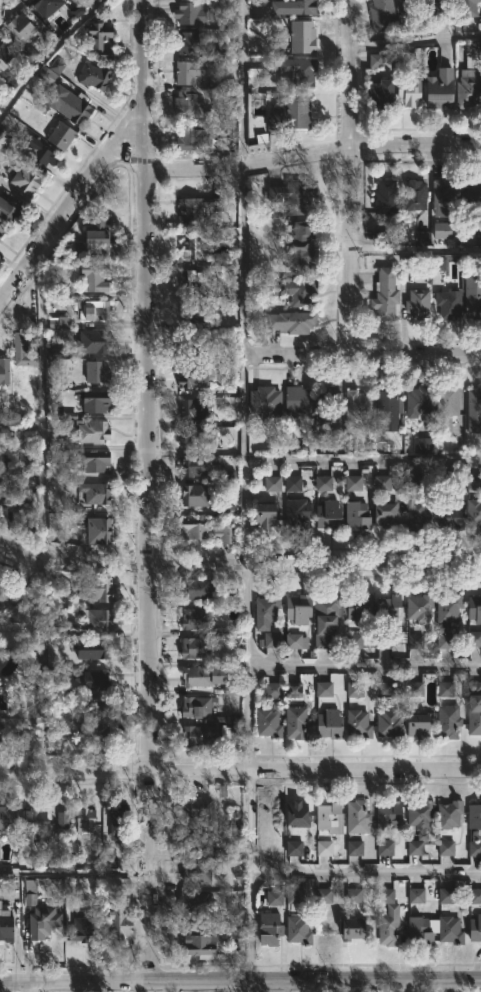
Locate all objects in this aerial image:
building: (85, 3)
building: (409, 5)
building: (44, 6)
building: (303, 7)
building: (436, 7)
building: (467, 8)
building: (189, 13)
building: (380, 14)
building: (19, 28)
building: (302, 38)
building: (99, 39)
building: (187, 43)
road: (415, 44)
building: (4, 51)
road: (46, 54)
road: (143, 56)
building: (59, 67)
building: (299, 72)
building: (187, 73)
road: (350, 75)
building: (93, 76)
building: (439, 88)
building: (468, 88)
building: (408, 92)
building: (380, 93)
building: (65, 104)
building: (186, 106)
building: (290, 115)
building: (59, 134)
building: (191, 139)
road: (313, 157)
building: (41, 159)
building: (24, 178)
building: (293, 194)
building: (414, 194)
building: (445, 195)
building: (473, 195)
building: (385, 196)
road: (68, 203)
building: (197, 207)
building: (7, 210)
building: (2, 227)
building: (444, 232)
building: (93, 238)
building: (196, 243)
building: (300, 248)
road: (415, 249)
road: (349, 251)
building: (93, 276)
building: (194, 279)
building: (295, 288)
building: (385, 293)
building: (472, 294)
building: (449, 302)
building: (418, 303)
building: (192, 308)
building: (96, 311)
building: (291, 321)
building: (94, 341)
building: (17, 347)
building: (192, 348)
road: (363, 352)
building: (4, 370)
building: (96, 371)
building: (194, 376)
building: (327, 396)
building: (297, 398)
building: (94, 400)
building: (265, 400)
building: (415, 400)
building: (357, 404)
building: (193, 407)
building: (444, 408)
building: (474, 408)
building: (387, 409)
building: (91, 430)
building: (198, 437)
building: (94, 461)
road: (363, 461)
building: (197, 463)
building: (294, 484)
building: (383, 484)
building: (475, 484)
road: (244, 490)
building: (94, 491)
building: (1, 492)
building: (194, 494)
building: (21, 496)
building: (296, 511)
building: (473, 512)
building: (265, 513)
building: (328, 513)
building: (384, 513)
building: (449, 513)
building: (356, 514)
building: (416, 514)
building: (97, 529)
building: (207, 530)
road: (143, 546)
road: (239, 563)
building: (4, 575)
building: (98, 588)
building: (194, 588)
building: (371, 607)
building: (419, 607)
building: (298, 608)
building: (474, 608)
building: (265, 609)
building: (324, 617)
building: (446, 617)
building: (96, 618)
building: (194, 619)
building: (475, 639)
building: (272, 640)
building: (298, 643)
building: (195, 647)
building: (93, 648)
road: (364, 668)
building: (198, 676)
building: (91, 677)
building: (196, 706)
building: (474, 708)
building: (388, 719)
building: (447, 721)
building: (98, 722)
building: (295, 722)
building: (357, 722)
building: (268, 723)
building: (329, 723)
building: (417, 725)
building: (89, 734)
building: (198, 736)
road: (240, 770)
building: (196, 808)
building: (296, 814)
building: (420, 814)
building: (449, 814)
building: (388, 815)
building: (356, 816)
building: (474, 816)
building: (329, 817)
building: (8, 820)
building: (84, 820)
building: (65, 821)
building: (117, 821)
building: (32, 822)
building: (197, 841)
building: (295, 849)
building: (325, 849)
building: (385, 849)
building: (416, 849)
building: (447, 849)
building: (475, 850)
building: (196, 872)
road: (366, 873)
road: (74, 875)
building: (116, 885)
building: (325, 896)
building: (355, 896)
building: (417, 897)
building: (447, 897)
building: (475, 897)
building: (294, 899)
building: (195, 902)
building: (387, 919)
building: (41, 921)
building: (5, 924)
building: (120, 925)
building: (475, 927)
building: (82, 928)
building: (352, 928)
building: (268, 929)
building: (297, 929)
building: (449, 930)
building: (420, 936)
building: (201, 945)
road: (240, 980)
road: (36, 986)

